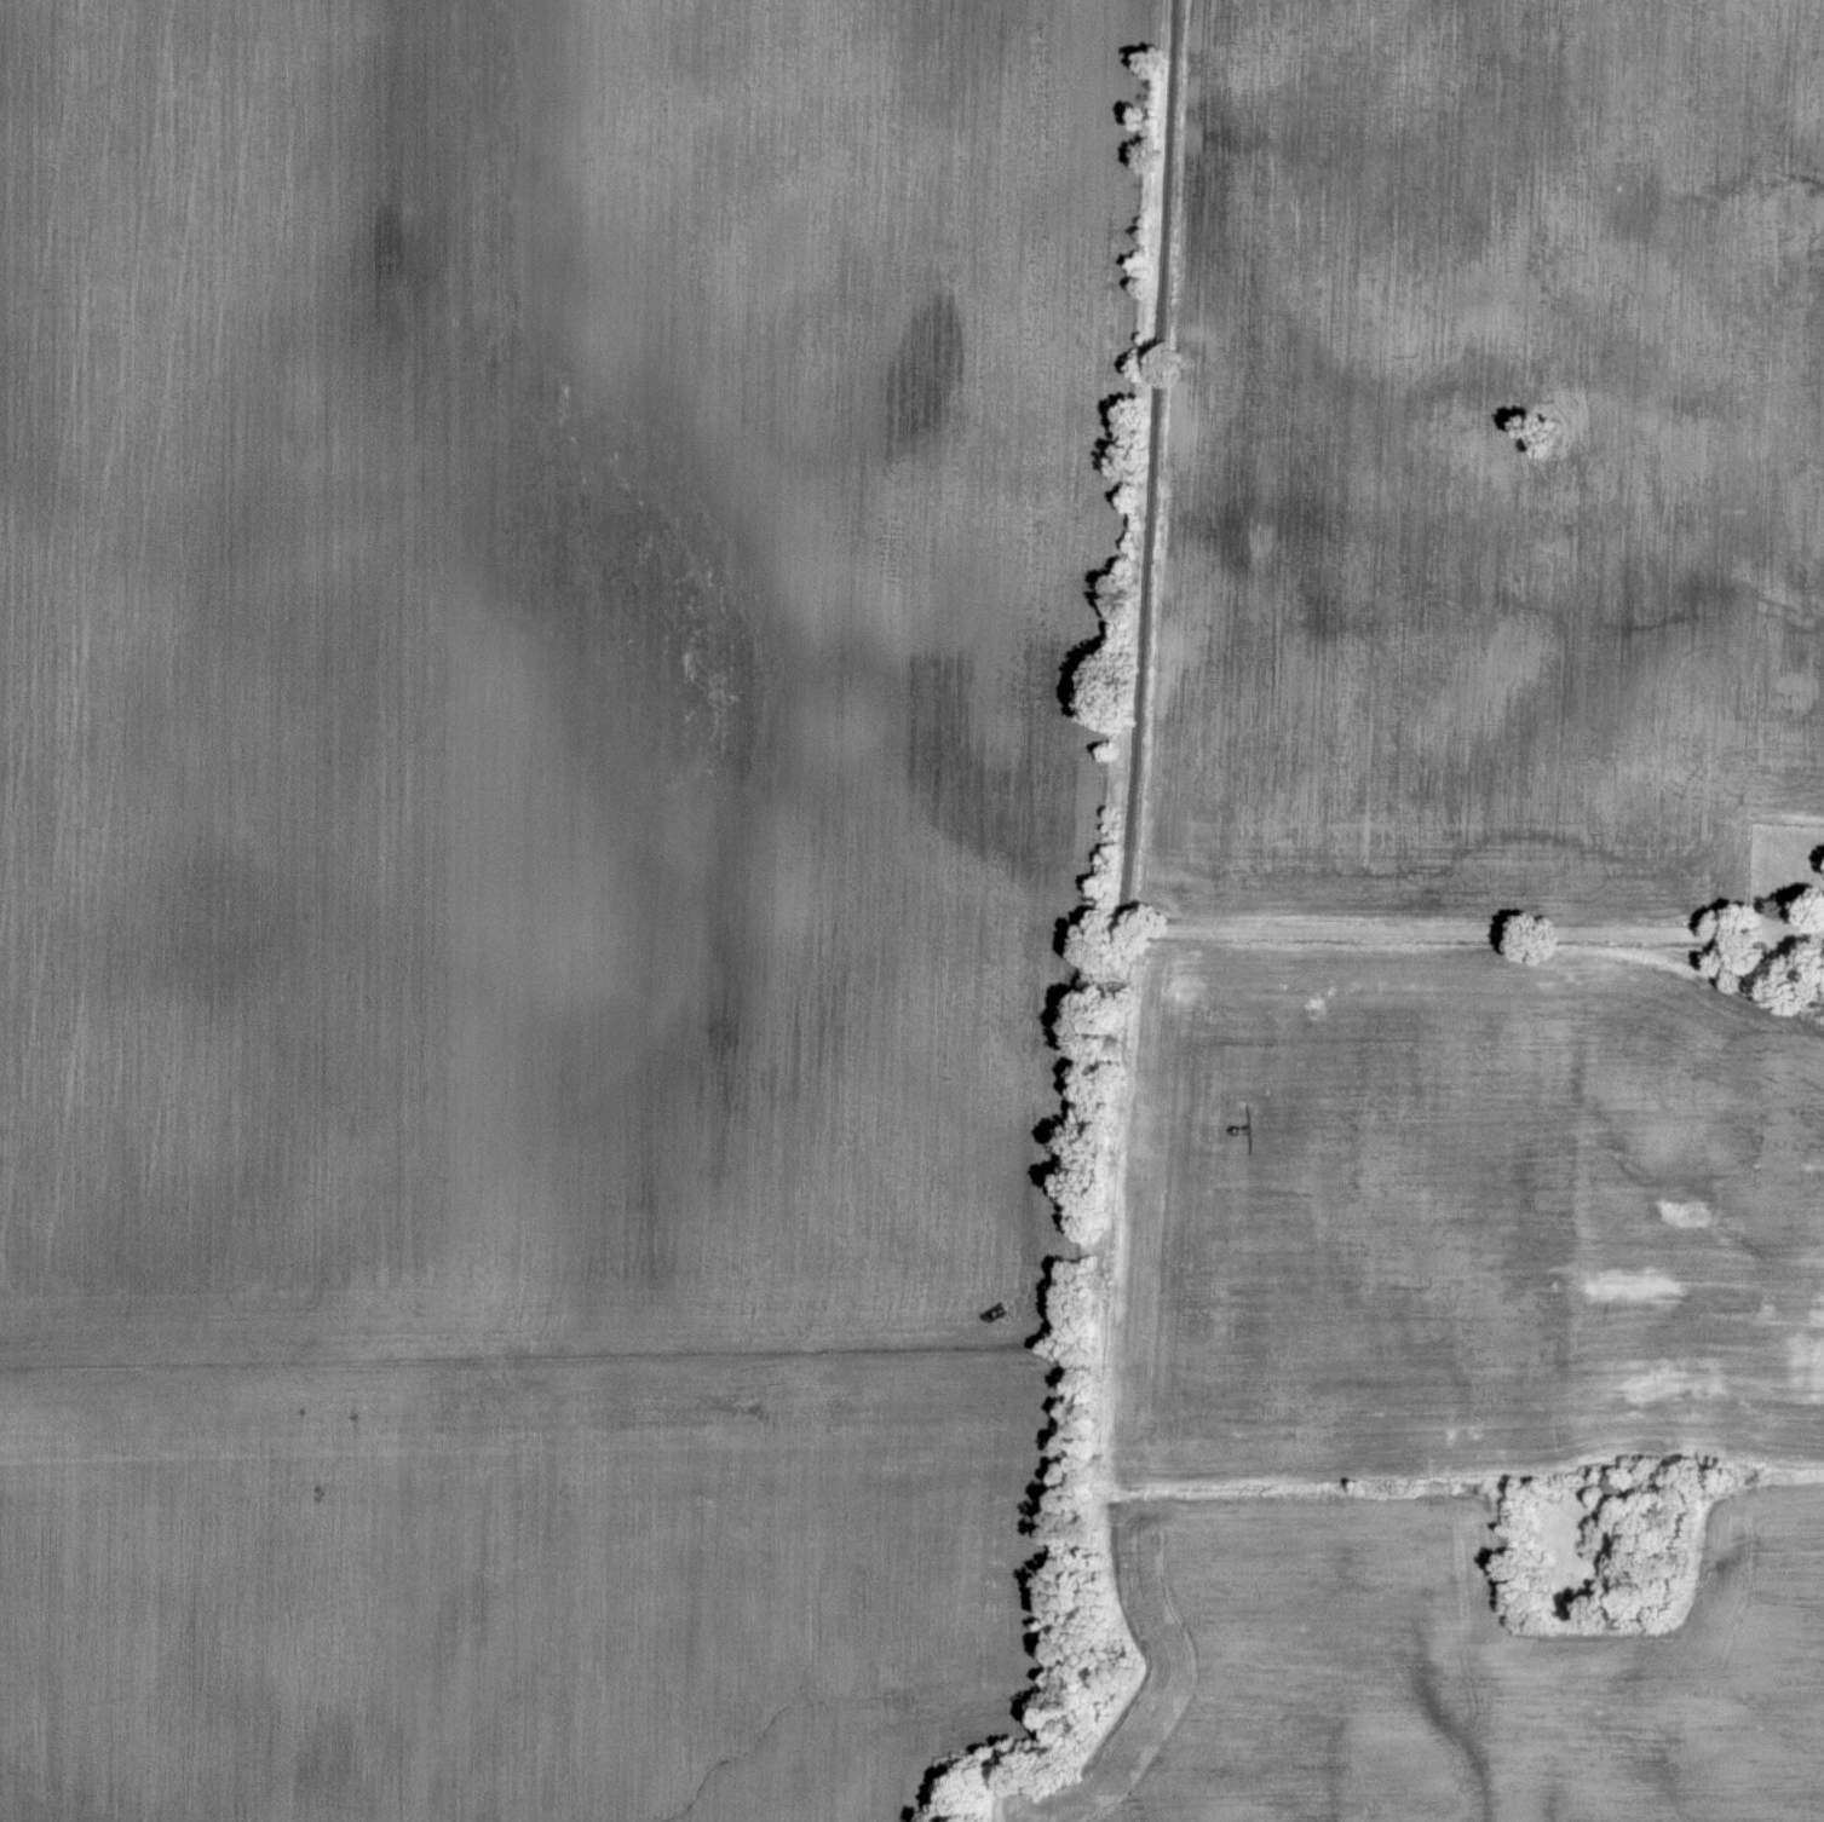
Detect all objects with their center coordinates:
crop: (1806, 368)
road: (1152, 463)
crop: (1473, 477)
crop: (559, 669)
park: (1788, 909)
road: (1443, 929)
crop: (1663, 1205)
crop: (1337, 1215)
crop: (1778, 1251)
crop: (535, 1584)
crop: (1422, 1667)

